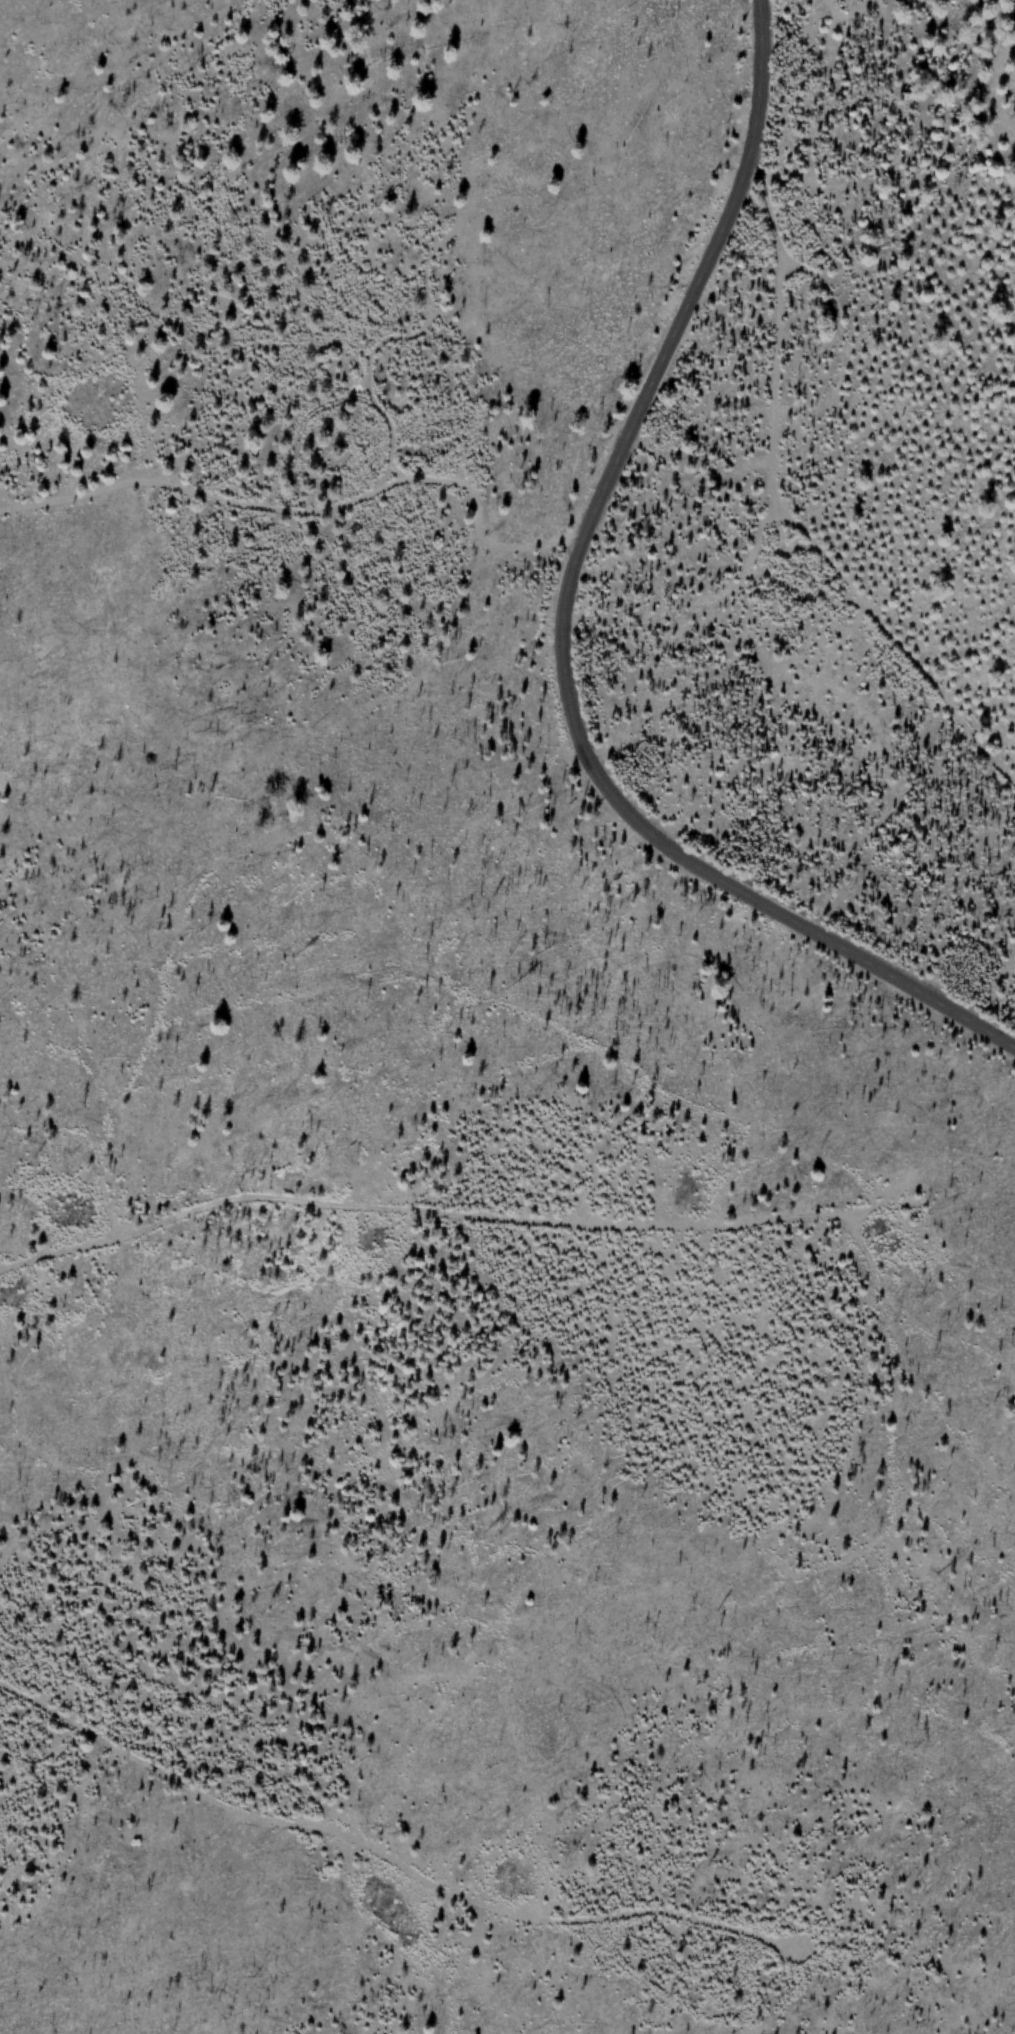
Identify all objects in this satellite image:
road: (311, 509)
road: (778, 511)
road: (560, 623)
road: (446, 1215)
road: (387, 1859)

